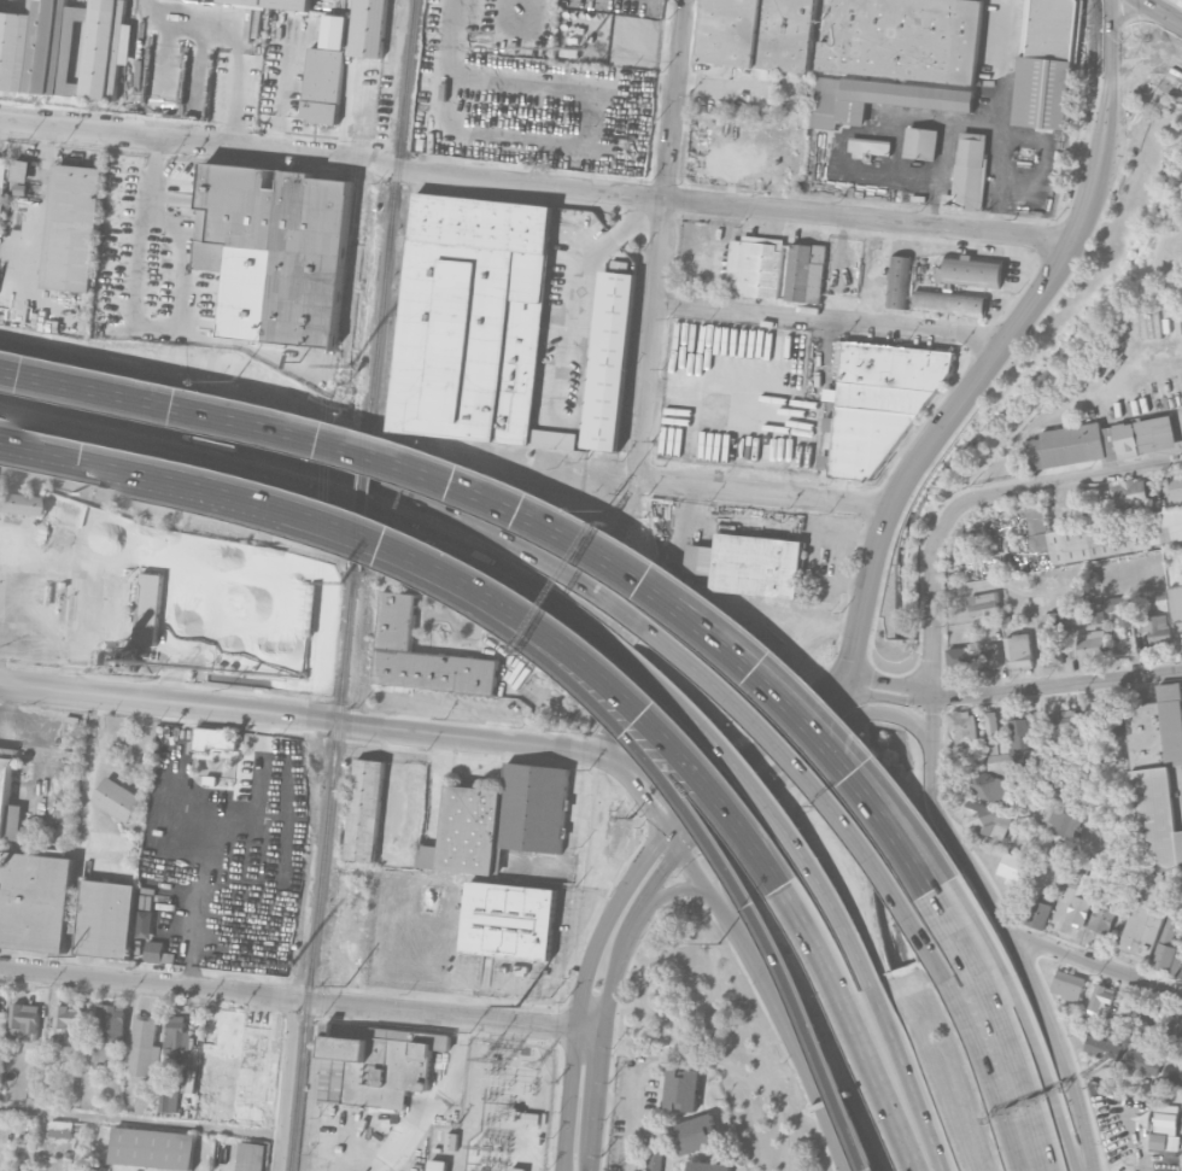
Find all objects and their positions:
building: (274, 4)
road: (1157, 13)
building: (368, 28)
road: (1000, 33)
building: (757, 34)
road: (1139, 34)
road: (233, 40)
building: (905, 40)
building: (65, 48)
road: (1101, 53)
road: (1180, 58)
road: (1180, 62)
building: (1046, 64)
road: (1133, 71)
building: (326, 72)
road: (392, 81)
building: (877, 99)
road: (166, 137)
building: (920, 144)
building: (870, 146)
building: (21, 171)
building: (969, 172)
road: (39, 187)
building: (1, 188)
road: (703, 205)
railway: (391, 211)
building: (72, 228)
road: (661, 240)
road: (14, 246)
building: (276, 251)
building: (760, 265)
building: (973, 270)
building: (807, 271)
building: (900, 281)
road: (570, 283)
road: (37, 292)
building: (950, 301)
building: (472, 317)
road: (829, 323)
road: (133, 324)
building: (608, 362)
power tower: (349, 364)
road: (971, 386)
building: (880, 402)
road: (183, 411)
road: (34, 420)
road: (298, 432)
road: (182, 437)
building: (1099, 441)
road: (1054, 482)
building: (1175, 490)
road: (217, 492)
building: (1130, 493)
road: (762, 496)
railway: (361, 497)
building: (17, 504)
road: (362, 508)
building: (1114, 535)
road: (380, 543)
road: (511, 544)
building: (757, 564)
power tower: (339, 580)
building: (982, 603)
building: (1175, 603)
building: (1119, 608)
road: (930, 610)
building: (1096, 611)
building: (1051, 621)
building: (1154, 626)
building: (1092, 644)
building: (1019, 650)
building: (1052, 654)
building: (425, 655)
building: (989, 656)
building: (960, 658)
road: (795, 680)
road: (891, 680)
road: (850, 685)
road: (1057, 686)
road: (778, 695)
road: (890, 696)
road: (456, 708)
road: (308, 718)
building: (1107, 720)
building: (962, 726)
building: (991, 726)
building: (1063, 726)
building: (213, 738)
building: (1023, 739)
road: (673, 743)
road: (754, 745)
building: (973, 756)
building: (997, 762)
road: (771, 766)
road: (792, 771)
road: (806, 778)
building: (985, 784)
road: (659, 790)
road: (638, 794)
building: (7, 798)
building: (118, 800)
traffic signals: (691, 802)
road: (770, 806)
building: (532, 808)
building: (1155, 809)
building: (365, 810)
traffic signals: (654, 814)
building: (987, 819)
building: (1060, 822)
road: (701, 829)
building: (165, 831)
building: (467, 831)
road: (672, 838)
road: (685, 842)
building: (1059, 853)
traffic signals: (663, 866)
building: (1010, 866)
railway: (322, 870)
building: (1112, 874)
road: (707, 886)
road: (674, 891)
building: (1083, 897)
building: (35, 901)
building: (1040, 913)
road: (687, 914)
building: (1104, 918)
building: (106, 919)
building: (510, 920)
road: (1008, 931)
road: (572, 935)
road: (671, 945)
building: (1165, 947)
building: (154, 952)
road: (748, 954)
power tower: (74, 956)
road: (632, 962)
building: (1178, 962)
road: (1099, 964)
power tower: (286, 965)
building: (1069, 984)
power tower: (346, 986)
road: (507, 988)
road: (581, 989)
road: (300, 997)
building: (1100, 999)
road: (605, 1000)
power tower: (517, 1006)
building: (1137, 1009)
building: (24, 1018)
building: (65, 1019)
road: (1029, 1019)
building: (109, 1020)
road: (1000, 1026)
building: (1174, 1029)
building: (176, 1036)
park: (715, 1036)
road: (631, 1038)
building: (144, 1046)
building: (1102, 1048)
building: (248, 1050)
building: (99, 1054)
building: (1142, 1061)
road: (977, 1062)
building: (376, 1066)
building: (166, 1070)
building: (1172, 1073)
road: (808, 1076)
road: (821, 1076)
road: (911, 1077)
building: (189, 1081)
road: (285, 1083)
road: (878, 1084)
road: (1125, 1087)
building: (683, 1088)
road: (773, 1096)
building: (168, 1100)
road: (614, 1102)
road: (434, 1109)
power substation: (497, 1111)
building: (388, 1116)
road: (631, 1117)
building: (529, 1118)
building: (1166, 1118)
road: (140, 1124)
building: (60, 1129)
building: (696, 1132)
building: (450, 1141)
building: (1158, 1141)
building: (152, 1148)
building: (66, 1154)
building: (250, 1157)
road: (552, 1161)
building: (654, 1161)
building: (435, 1165)
building: (708, 1165)
building: (515, 1169)

